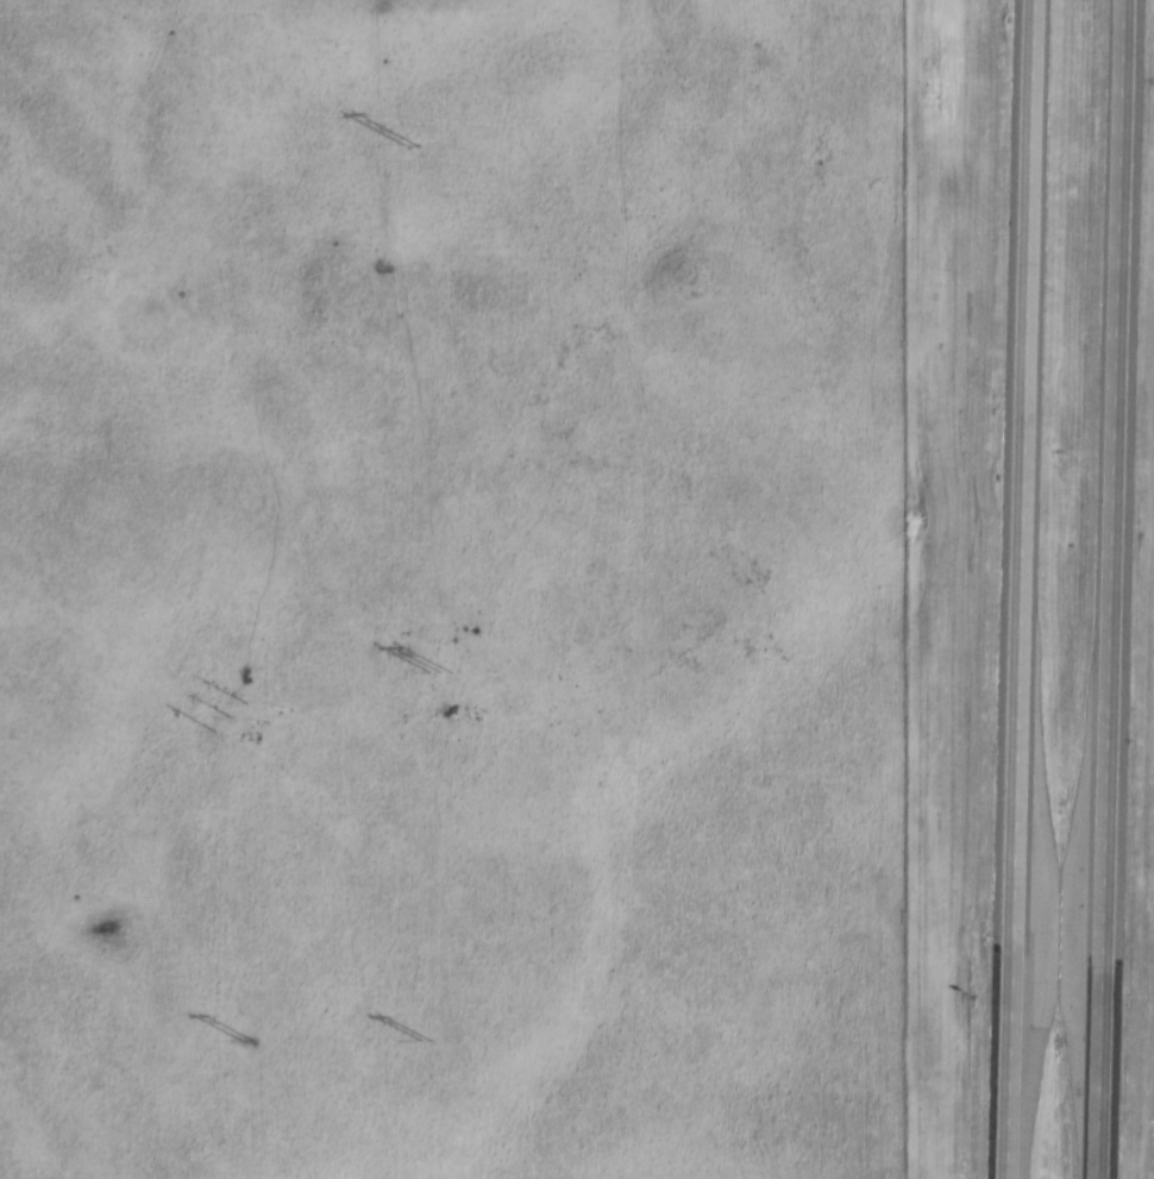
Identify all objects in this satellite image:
power tower: (402, 143)
road: (1022, 589)
road: (1122, 589)
power tower: (432, 670)
power tower: (225, 717)
power tower: (416, 1039)
power tower: (240, 1040)

